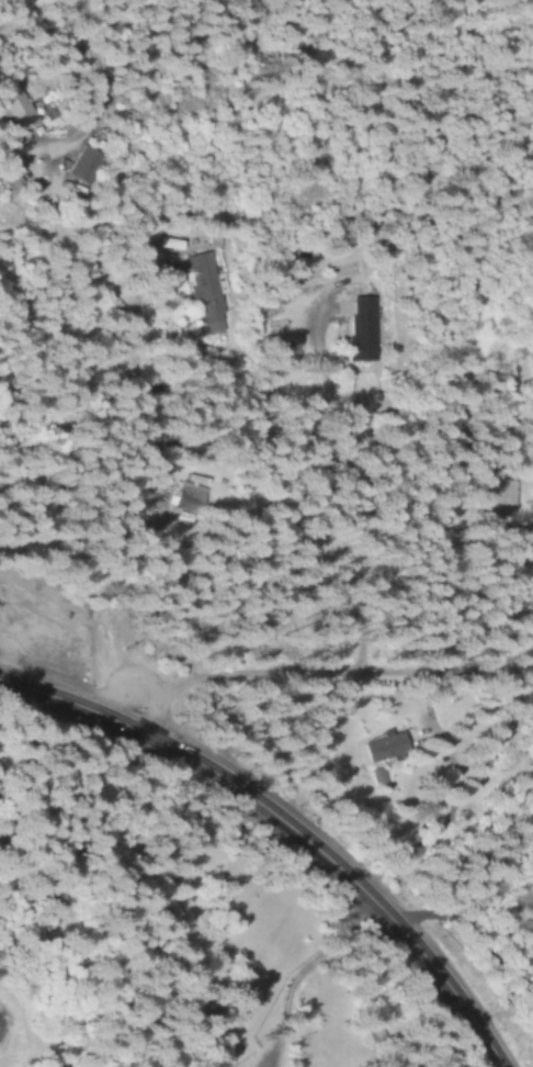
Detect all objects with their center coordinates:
building: (12, 108)
building: (79, 165)
building: (202, 285)
building: (358, 330)
road: (140, 456)
road: (356, 482)
building: (189, 486)
building: (491, 501)
road: (324, 674)
building: (379, 749)
building: (379, 783)
road: (285, 827)

